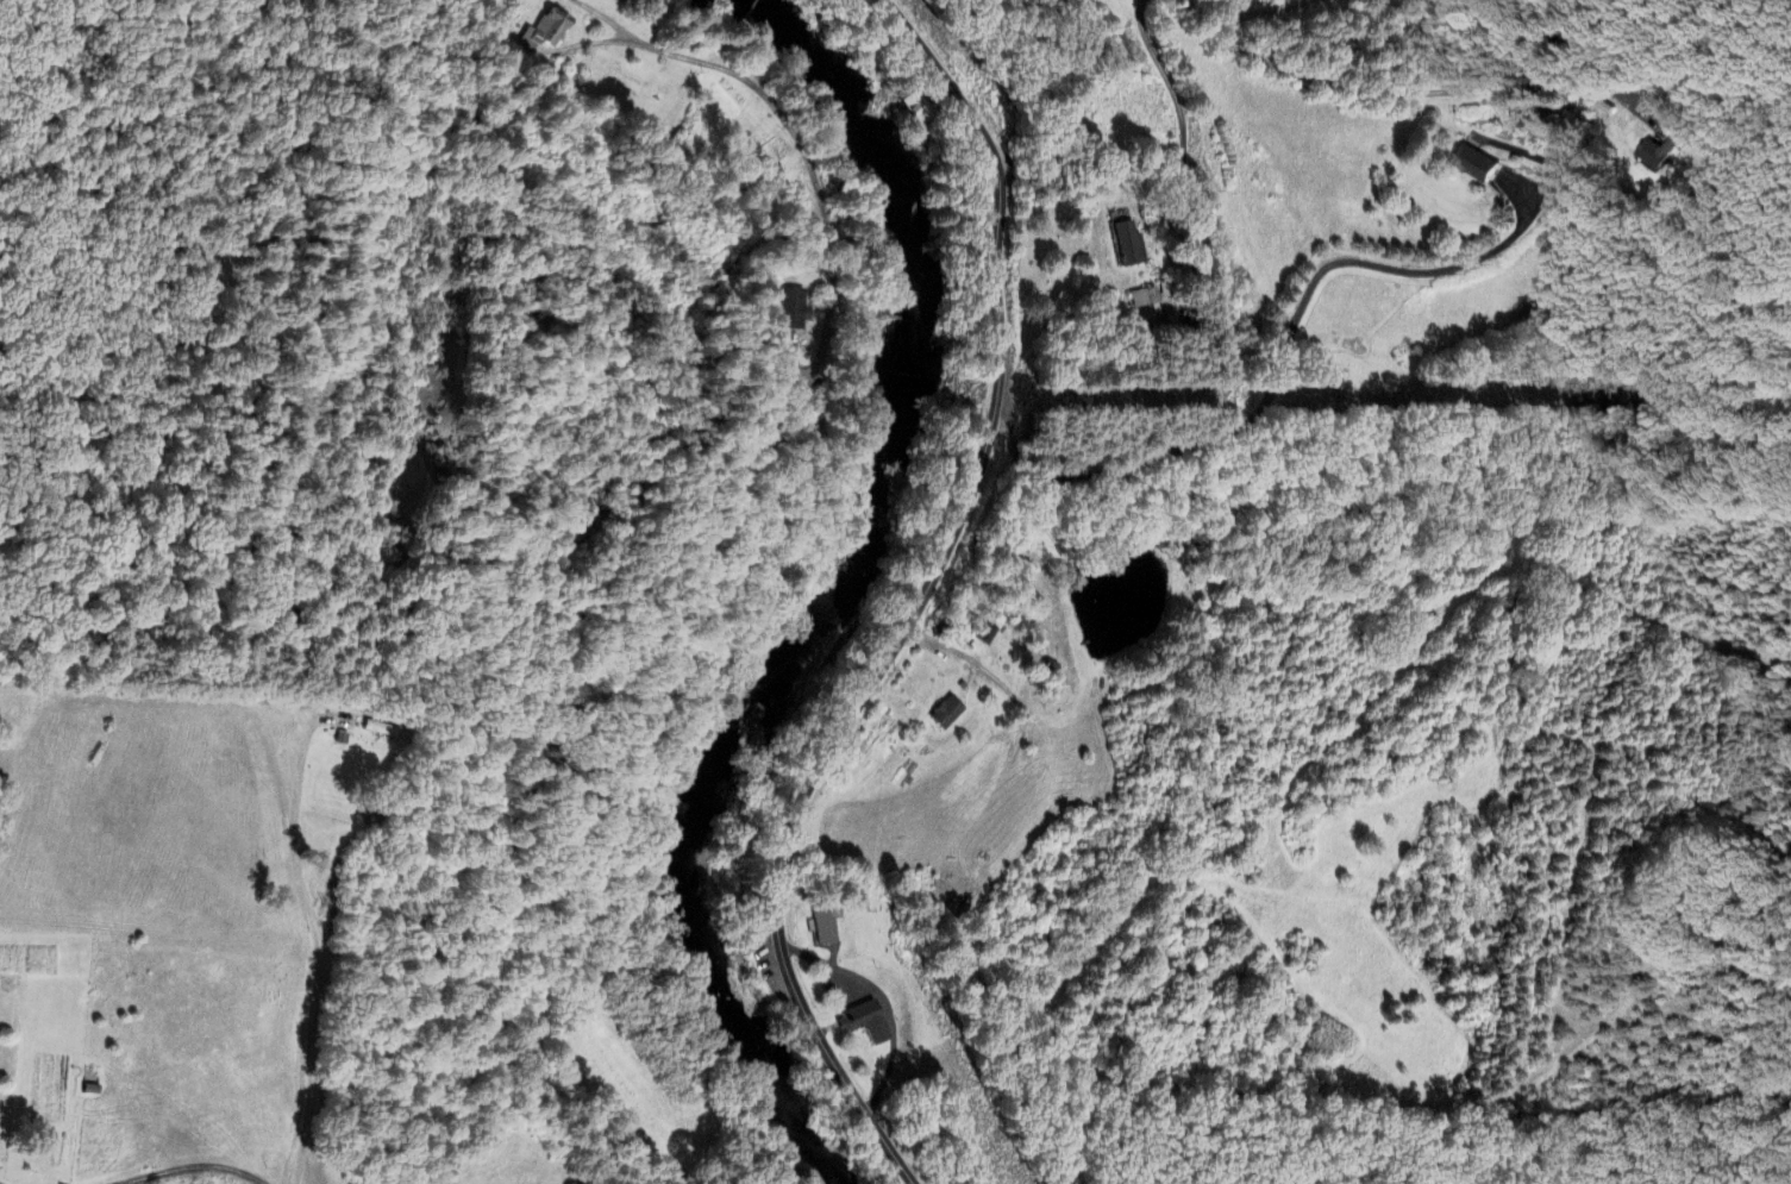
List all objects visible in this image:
road: (737, 24)
building: (545, 31)
road: (713, 59)
road: (1311, 76)
building: (915, 107)
building: (1654, 156)
building: (1474, 164)
building: (1128, 245)
road: (1398, 269)
river: (910, 274)
building: (1144, 299)
building: (793, 311)
road: (1277, 365)
road: (702, 560)
road: (927, 602)
building: (987, 635)
road: (230, 708)
building: (946, 714)
river: (687, 883)
building: (825, 925)
road: (320, 953)
building: (866, 1017)
road: (194, 1169)

